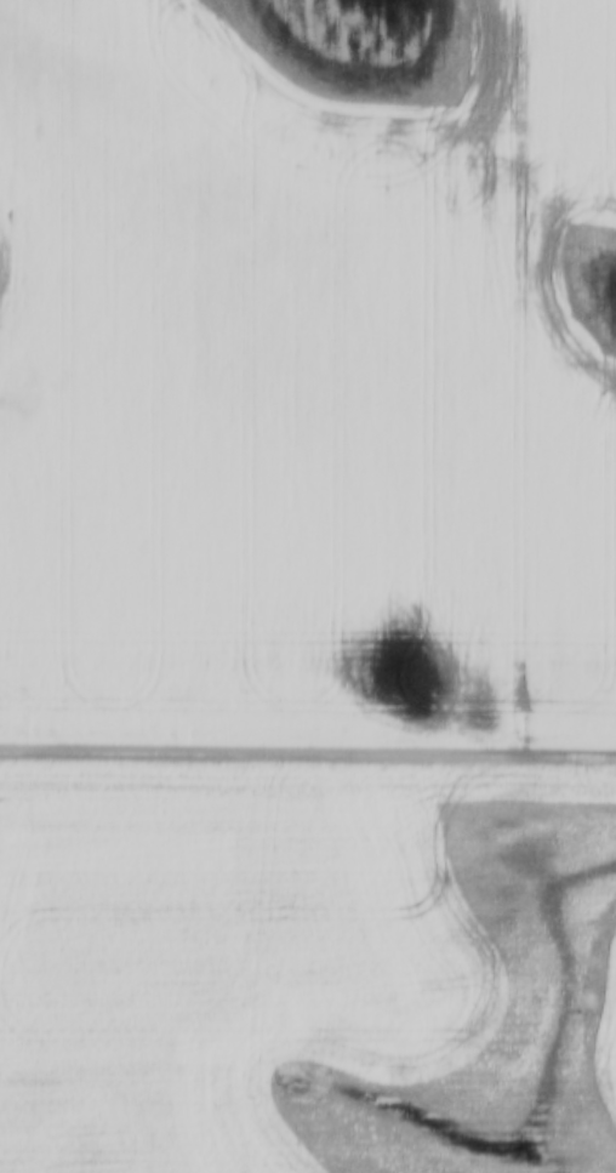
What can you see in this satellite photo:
road: (308, 752)

